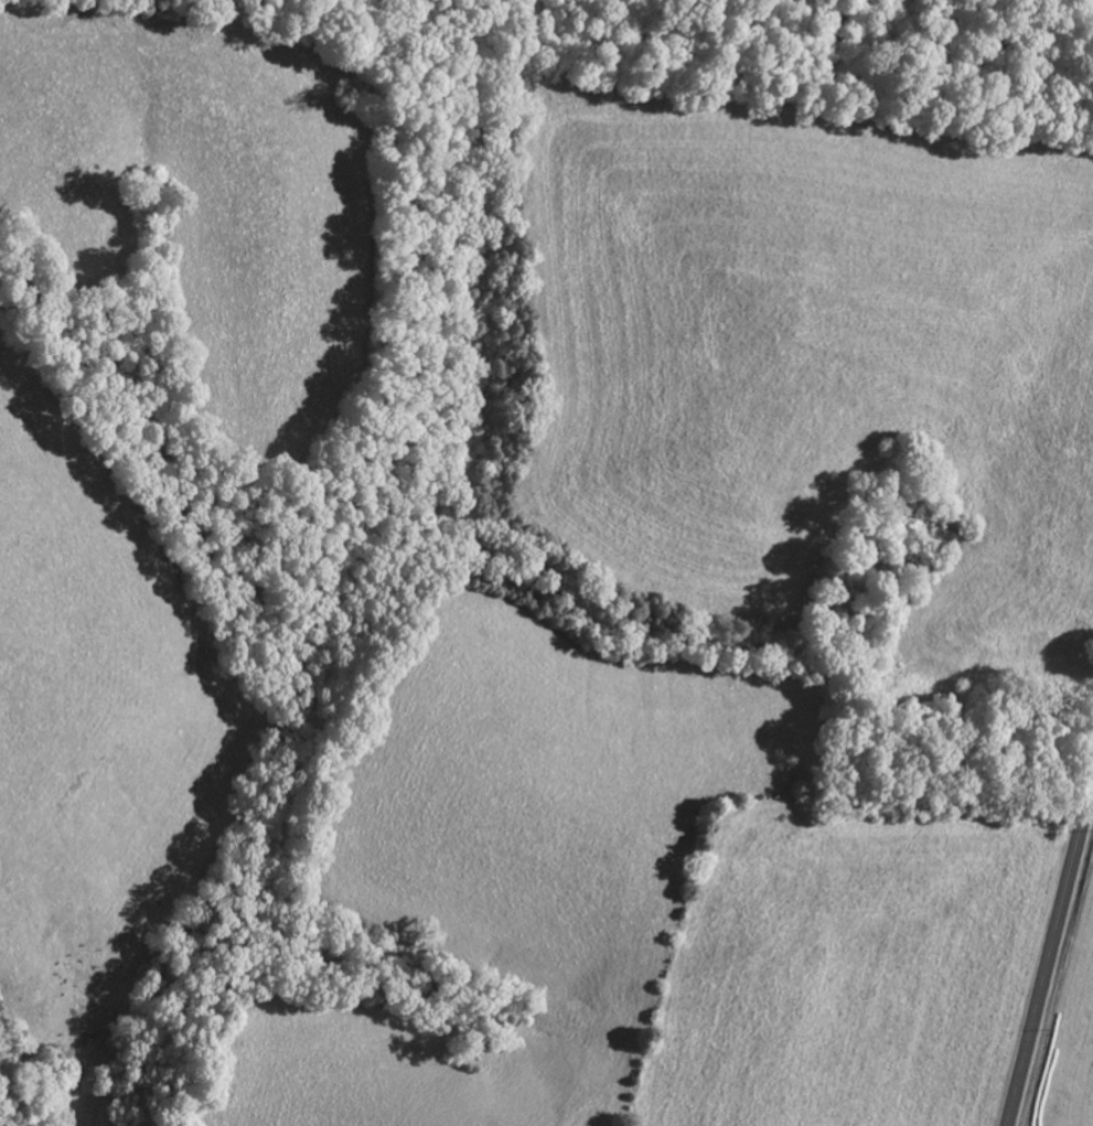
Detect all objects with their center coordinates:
road: (1050, 956)

